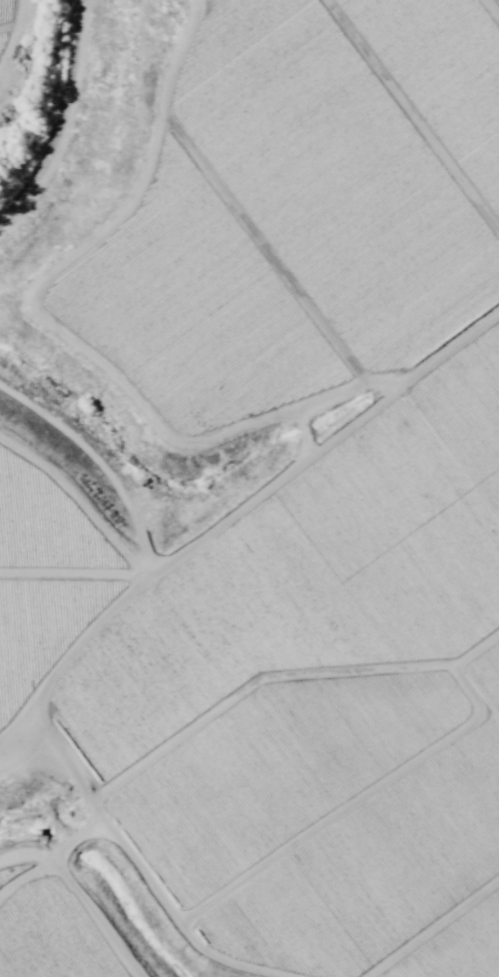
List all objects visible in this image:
crop: (249, 488)

